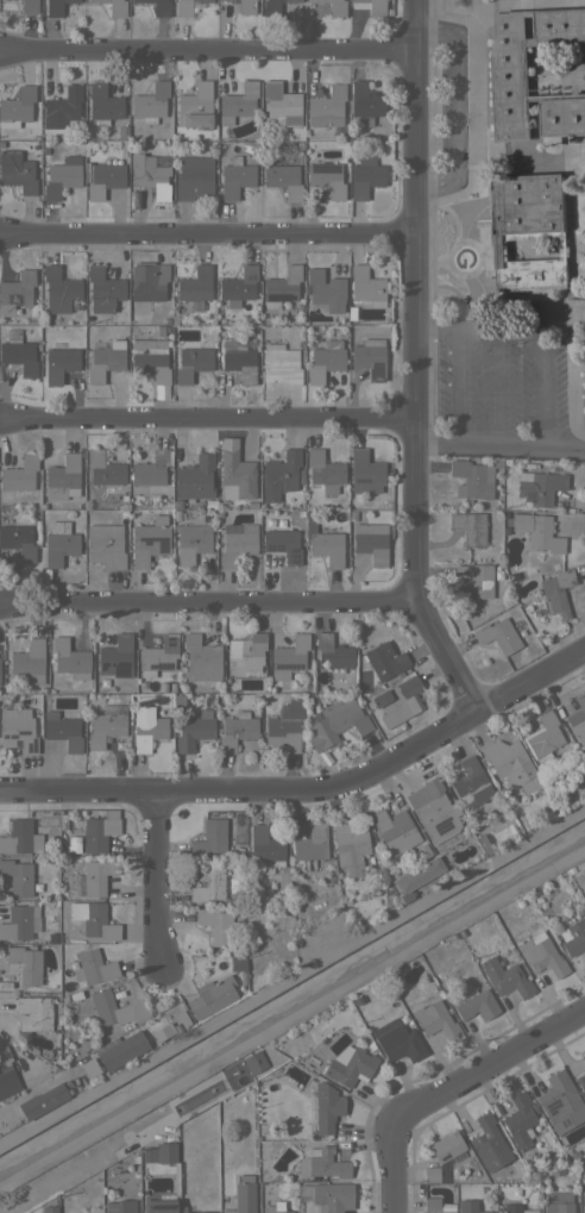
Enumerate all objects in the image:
building: (233, 1)
building: (29, 6)
building: (157, 6)
building: (333, 6)
building: (372, 6)
building: (56, 7)
building: (114, 7)
building: (185, 7)
building: (246, 7)
building: (272, 7)
road: (206, 50)
building: (509, 79)
road: (459, 101)
building: (150, 102)
building: (238, 102)
building: (281, 102)
building: (365, 102)
building: (102, 104)
building: (195, 106)
building: (17, 107)
building: (63, 108)
building: (327, 108)
building: (121, 130)
building: (44, 148)
building: (17, 171)
building: (150, 174)
building: (365, 175)
building: (62, 176)
building: (193, 176)
building: (235, 177)
building: (103, 179)
building: (326, 179)
building: (283, 180)
building: (317, 196)
building: (528, 230)
road: (207, 232)
building: (146, 285)
building: (238, 286)
building: (195, 287)
building: (281, 287)
building: (365, 287)
building: (58, 289)
building: (102, 289)
building: (325, 289)
building: (15, 290)
building: (298, 305)
building: (351, 312)
building: (87, 318)
building: (168, 320)
building: (166, 327)
building: (159, 329)
building: (207, 343)
building: (300, 343)
building: (19, 356)
building: (370, 357)
building: (150, 358)
building: (238, 358)
building: (105, 361)
building: (325, 361)
building: (59, 362)
building: (191, 363)
road: (414, 363)
building: (281, 364)
road: (543, 390)
building: (584, 412)
road: (207, 419)
road: (565, 446)
building: (496, 463)
building: (554, 465)
building: (537, 467)
building: (103, 468)
building: (150, 469)
building: (323, 471)
building: (365, 473)
building: (19, 474)
building: (194, 474)
building: (279, 475)
building: (300, 475)
building: (235, 476)
building: (63, 477)
building: (471, 479)
building: (539, 487)
building: (145, 500)
building: (48, 504)
building: (175, 504)
building: (466, 504)
building: (42, 505)
building: (176, 514)
building: (352, 514)
building: (468, 526)
building: (504, 529)
building: (537, 531)
building: (18, 540)
building: (149, 540)
building: (191, 540)
building: (323, 542)
building: (371, 542)
building: (58, 543)
building: (237, 543)
building: (283, 544)
building: (105, 545)
building: (509, 575)
building: (473, 581)
building: (552, 594)
building: (507, 601)
road: (207, 602)
building: (478, 609)
building: (516, 623)
building: (497, 636)
building: (332, 652)
building: (158, 655)
building: (246, 655)
building: (115, 656)
building: (289, 657)
building: (69, 658)
building: (201, 658)
building: (384, 659)
building: (29, 662)
building: (162, 687)
building: (171, 687)
building: (317, 695)
building: (177, 700)
building: (397, 701)
building: (578, 718)
building: (335, 721)
building: (106, 725)
building: (284, 726)
building: (146, 727)
building: (63, 729)
building: (194, 730)
building: (237, 730)
building: (17, 731)
building: (542, 737)
building: (510, 763)
building: (471, 782)
road: (308, 787)
building: (372, 794)
building: (435, 811)
building: (392, 827)
building: (97, 833)
building: (209, 837)
building: (20, 838)
building: (73, 844)
building: (312, 845)
building: (348, 846)
building: (265, 849)
building: (422, 851)
road: (145, 864)
building: (380, 873)
building: (416, 874)
building: (18, 877)
building: (94, 877)
building: (284, 877)
building: (36, 882)
building: (208, 883)
building: (531, 892)
building: (517, 902)
building: (571, 913)
building: (93, 919)
building: (19, 923)
building: (215, 925)
building: (573, 937)
road: (155, 949)
building: (541, 953)
building: (237, 962)
building: (25, 963)
building: (93, 968)
building: (505, 977)
building: (74, 995)
building: (210, 996)
building: (474, 1003)
building: (108, 1008)
building: (33, 1012)
building: (181, 1019)
building: (435, 1020)
building: (174, 1028)
building: (398, 1042)
building: (370, 1044)
building: (119, 1050)
building: (583, 1058)
building: (253, 1062)
building: (350, 1065)
building: (88, 1069)
building: (6, 1074)
building: (580, 1083)
building: (323, 1087)
road: (451, 1093)
building: (42, 1101)
building: (560, 1102)
building: (323, 1111)
building: (520, 1120)
building: (165, 1133)
building: (486, 1137)
building: (164, 1152)
building: (573, 1153)
building: (147, 1155)
building: (441, 1157)
building: (134, 1158)
building: (322, 1163)
building: (243, 1195)
building: (328, 1195)
building: (583, 1201)
building: (558, 1202)
building: (157, 1206)
building: (436, 1206)
building: (468, 1207)
building: (112, 1208)
building: (275, 1208)
building: (515, 1208)
building: (49, 1209)
building: (200, 1212)

